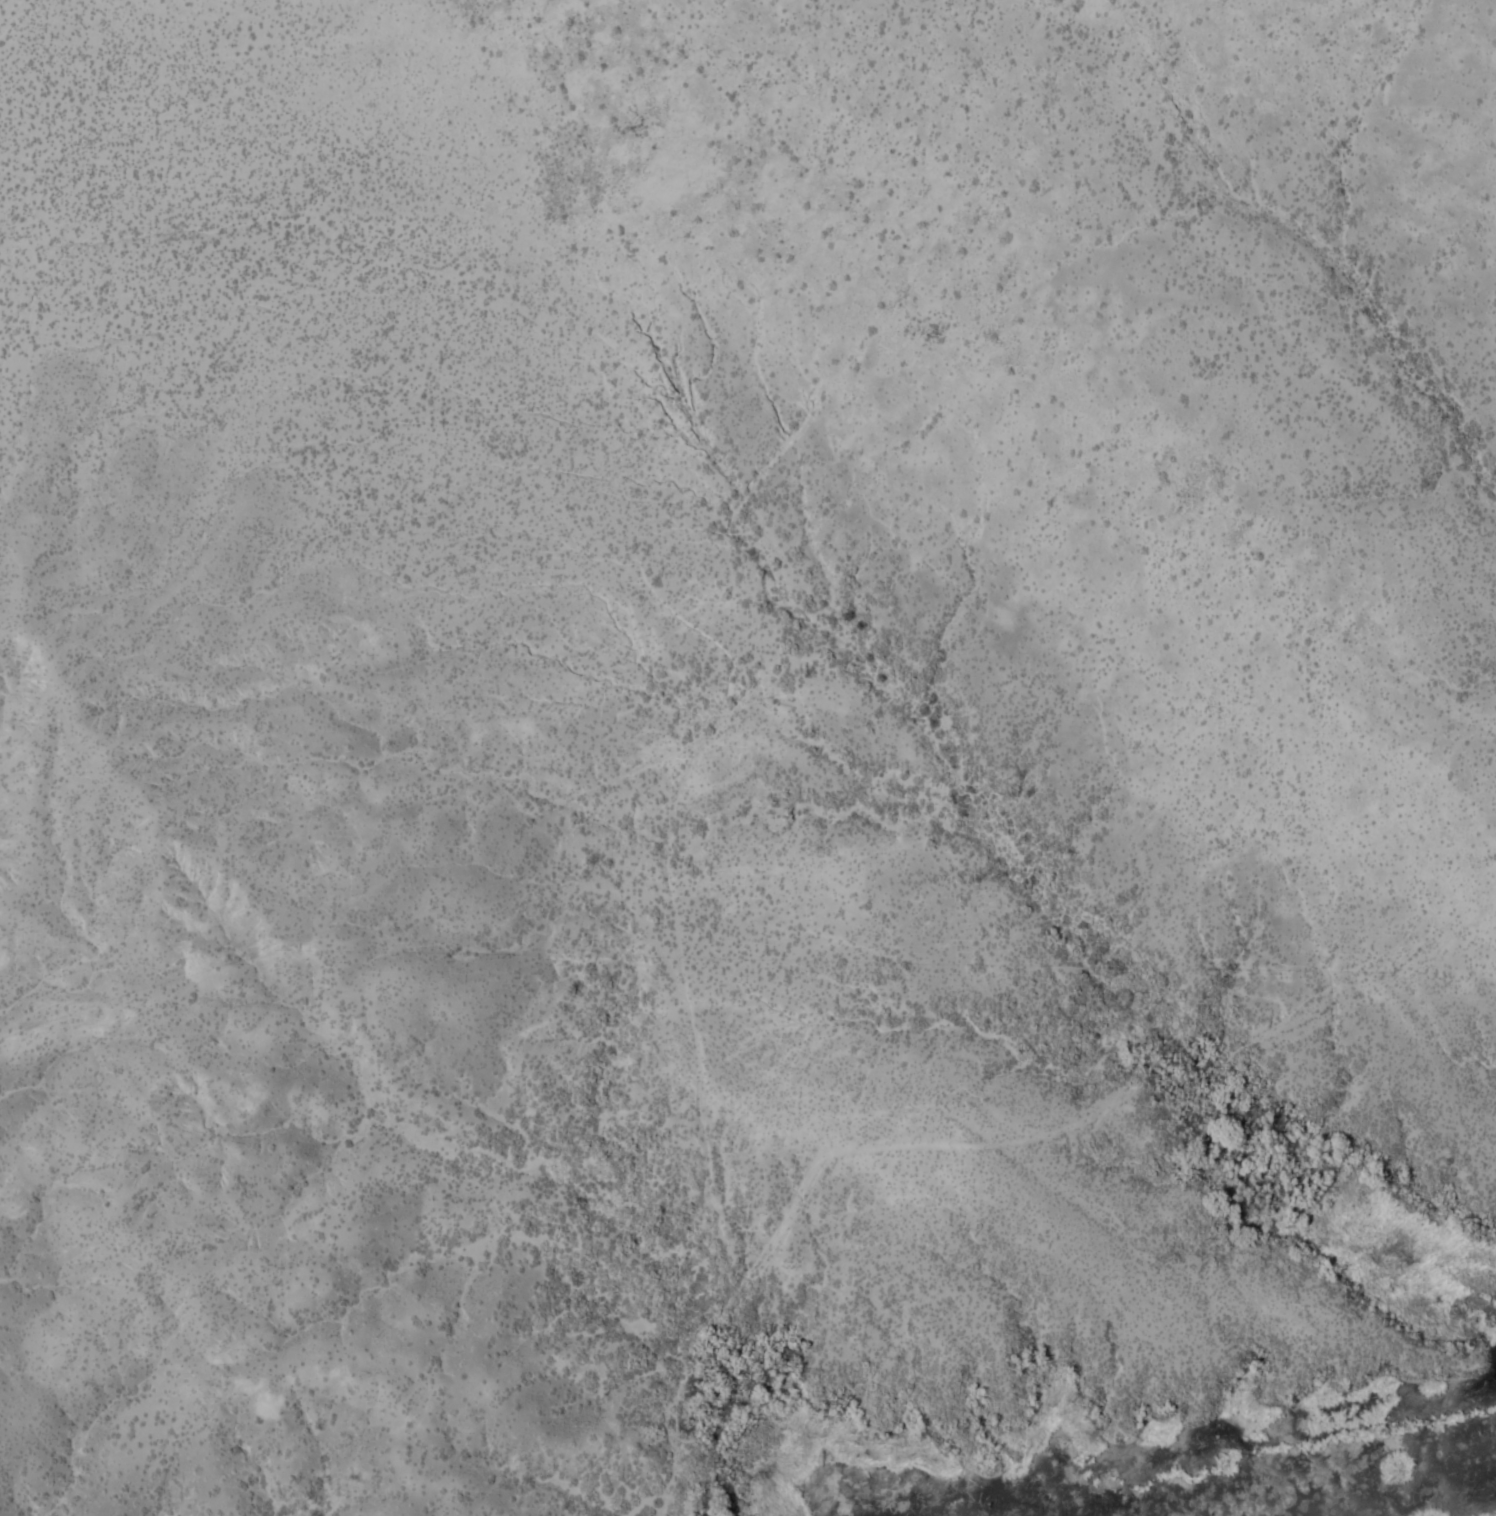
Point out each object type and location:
road: (16, 18)
road: (1397, 956)

